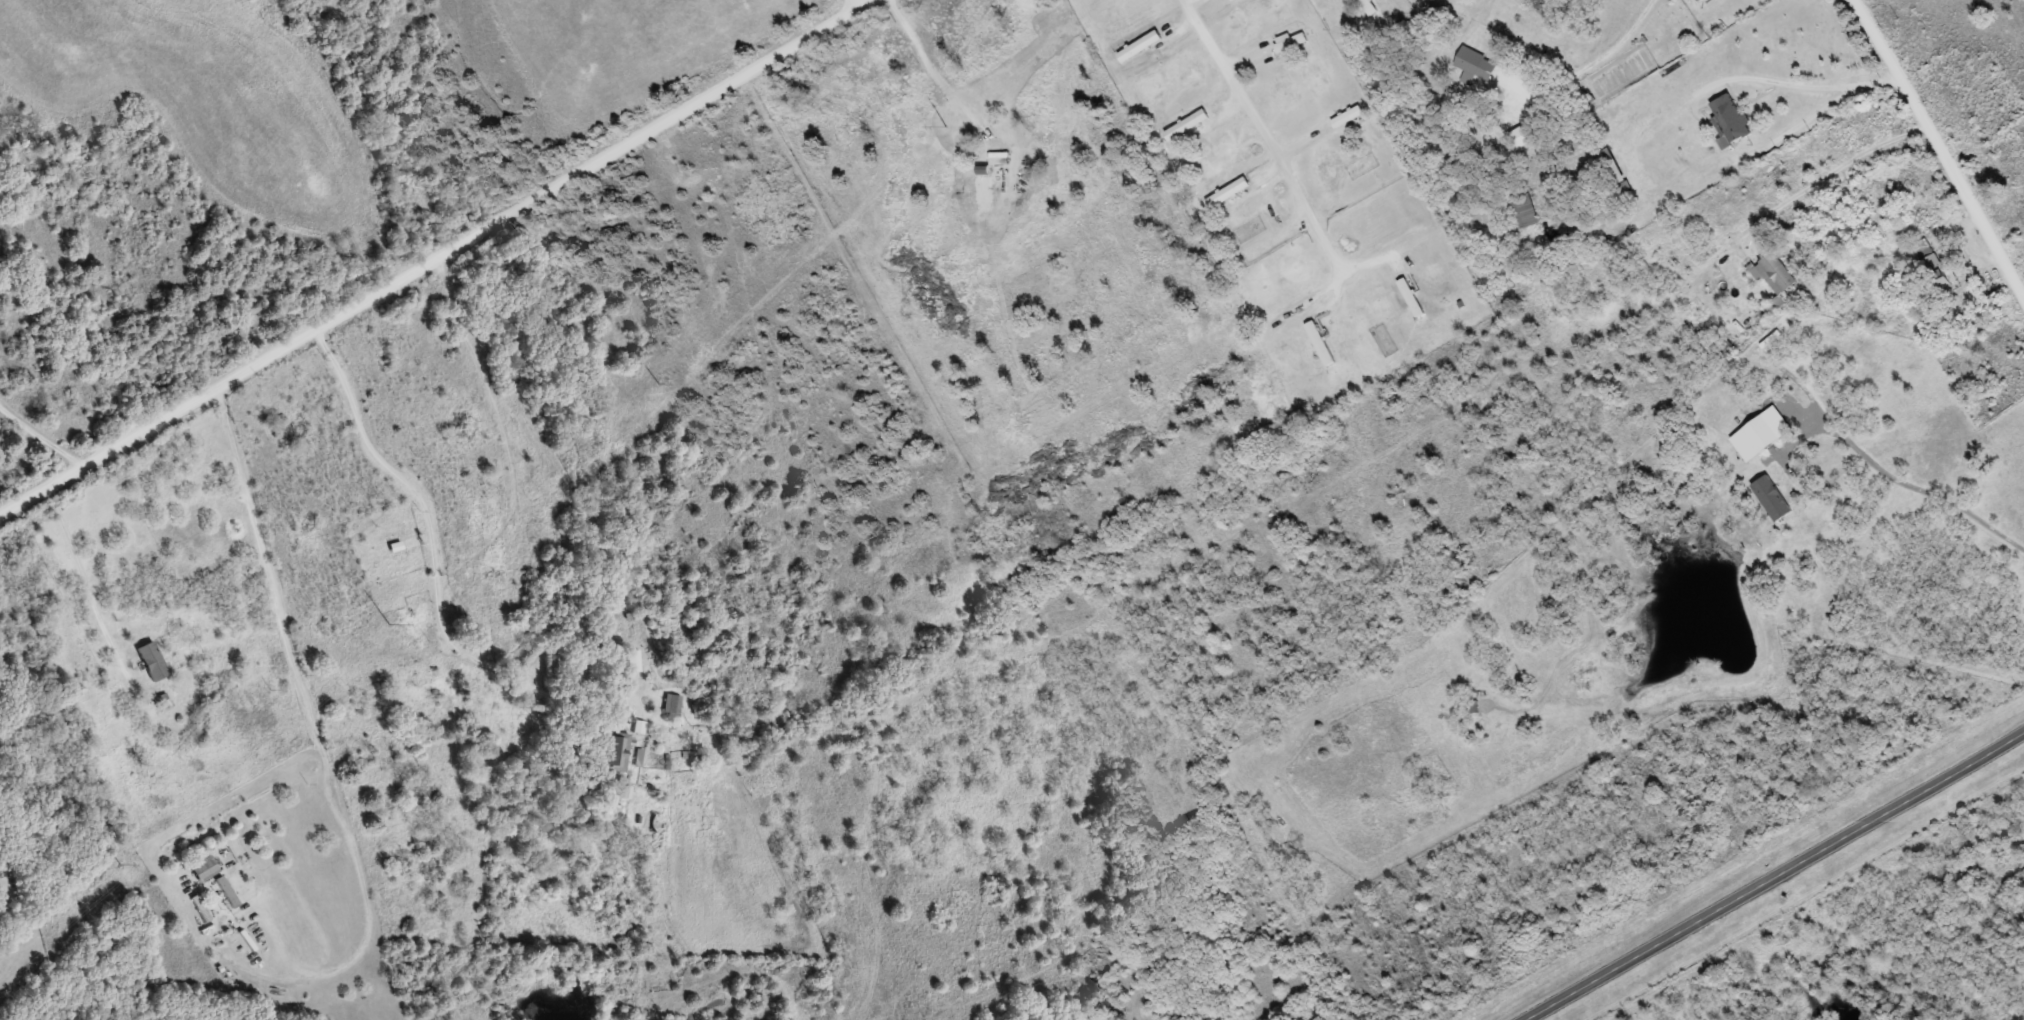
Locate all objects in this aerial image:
road: (865, 3)
road: (873, 3)
building: (1294, 40)
building: (1142, 45)
building: (1349, 115)
building: (1731, 119)
building: (1189, 123)
road: (1944, 140)
building: (1001, 157)
building: (1614, 171)
building: (1229, 192)
building: (1529, 208)
road: (434, 262)
building: (1935, 263)
building: (1776, 279)
building: (1413, 296)
building: (1322, 342)
building: (1730, 347)
road: (76, 597)
building: (634, 658)
building: (154, 659)
building: (673, 705)
building: (618, 750)
building: (207, 866)
road: (1774, 870)
building: (229, 890)
building: (202, 906)

